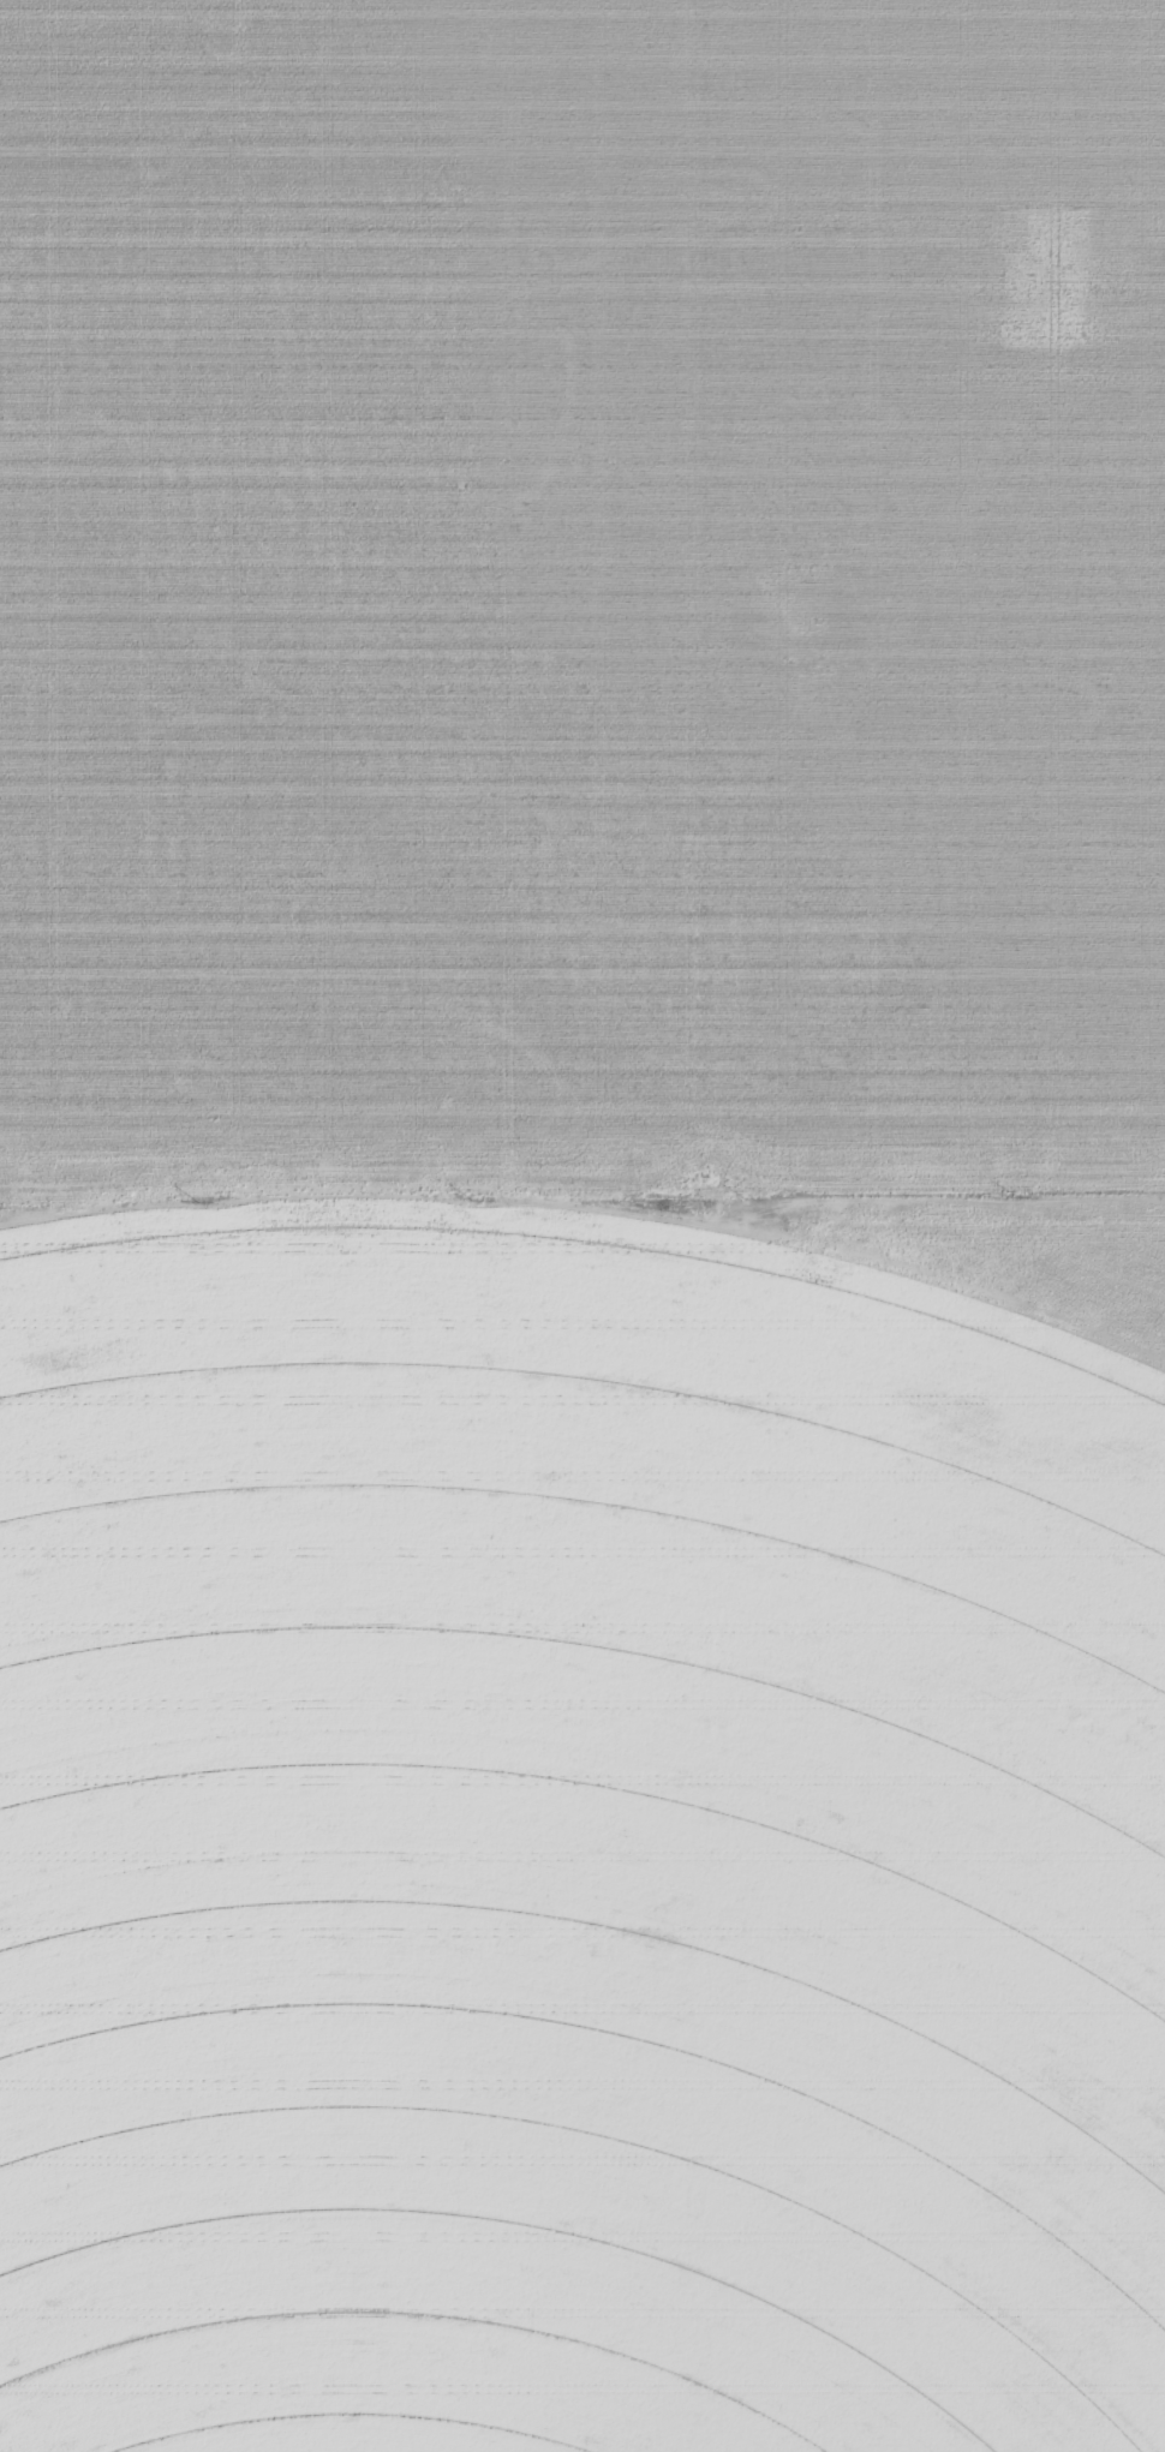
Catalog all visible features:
road: (711, 596)
road: (582, 1192)

